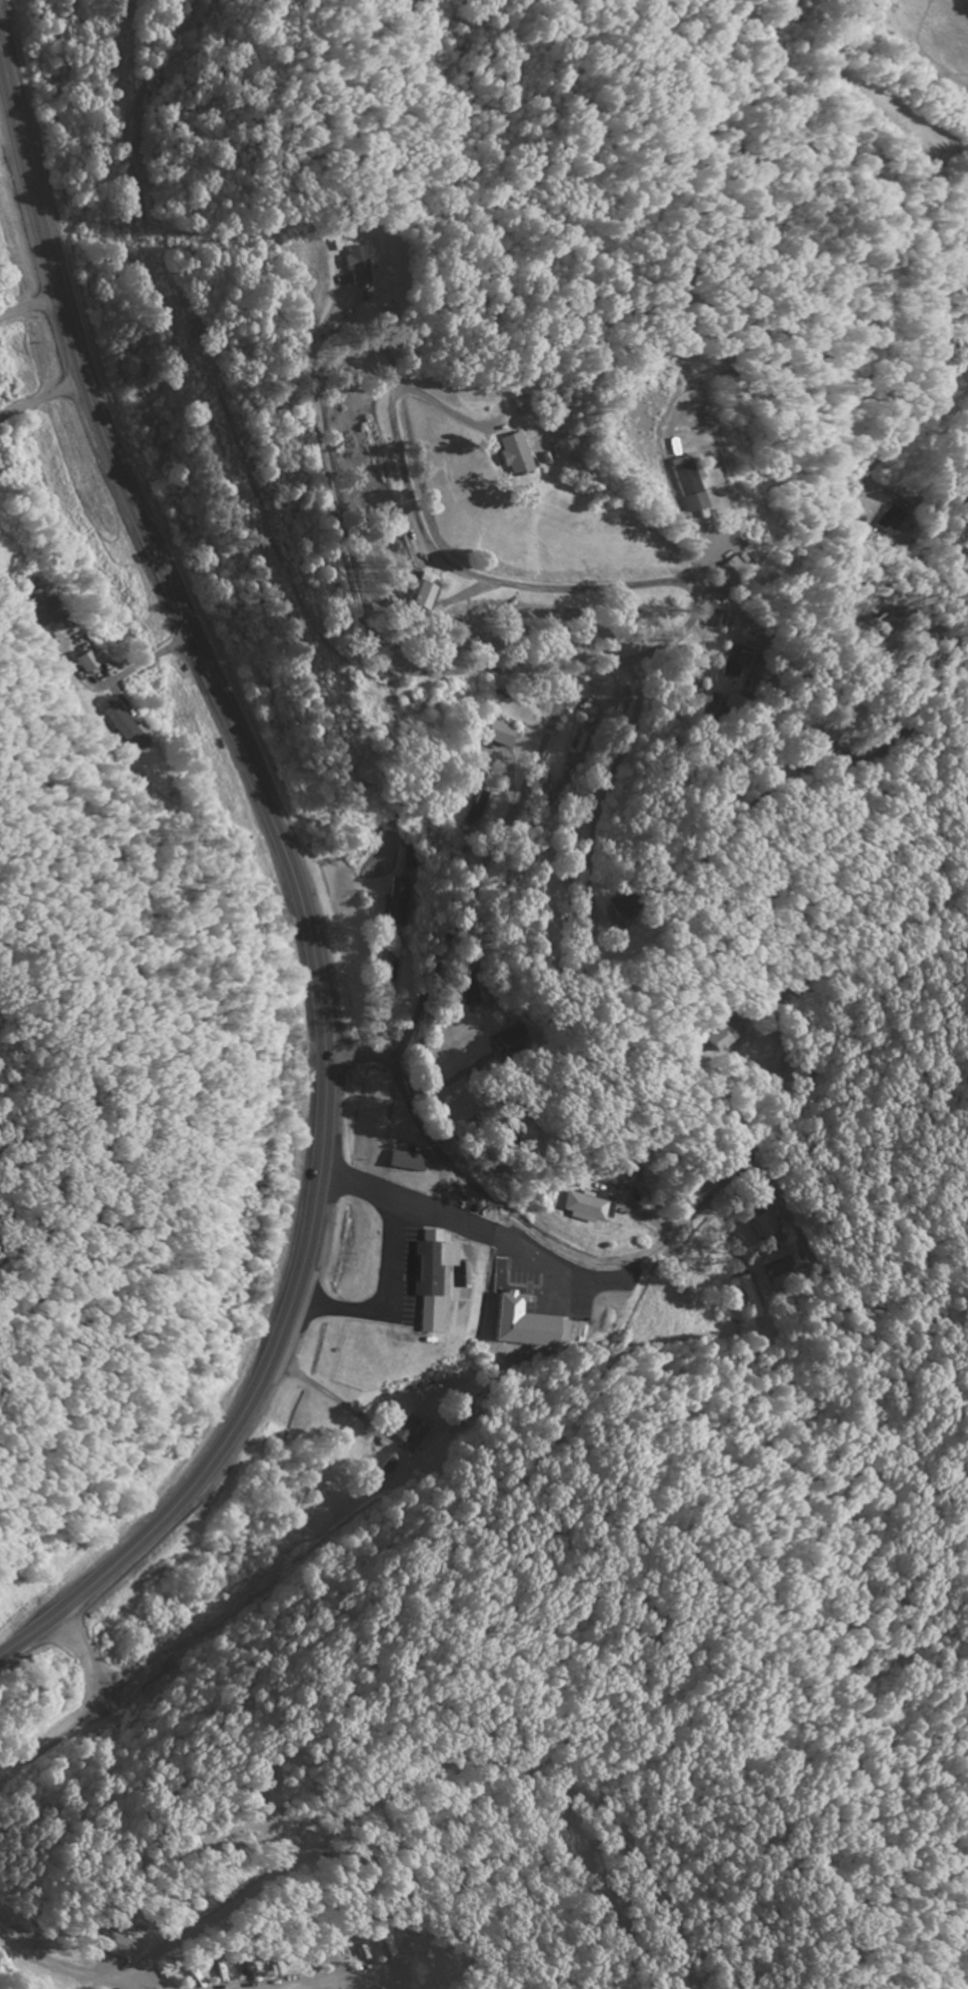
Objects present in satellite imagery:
road: (72, 23)
road: (114, 238)
building: (361, 263)
road: (26, 304)
building: (518, 458)
building: (689, 487)
building: (884, 522)
building: (429, 596)
building: (654, 603)
building: (39, 609)
road: (686, 622)
building: (84, 663)
building: (734, 663)
building: (118, 728)
road: (505, 765)
road: (692, 808)
road: (426, 850)
road: (479, 869)
road: (296, 892)
building: (627, 916)
building: (717, 1038)
road: (362, 1056)
road: (429, 1069)
building: (587, 1208)
building: (758, 1228)
road: (487, 1253)
road: (609, 1262)
road: (832, 1265)
building: (431, 1280)
building: (536, 1333)
road: (535, 1335)
building: (401, 1429)

